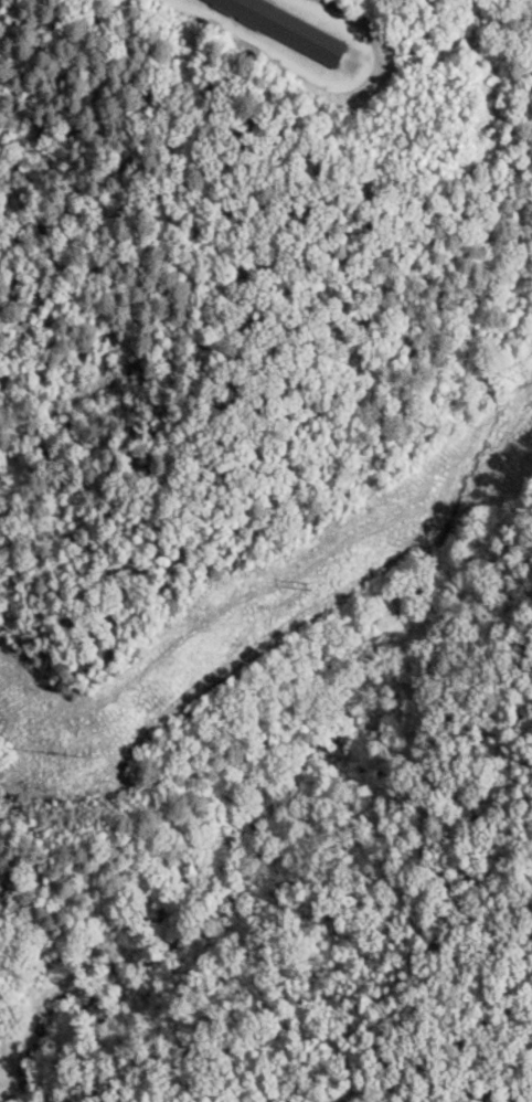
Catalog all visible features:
building: (286, 25)
road: (3, 413)

